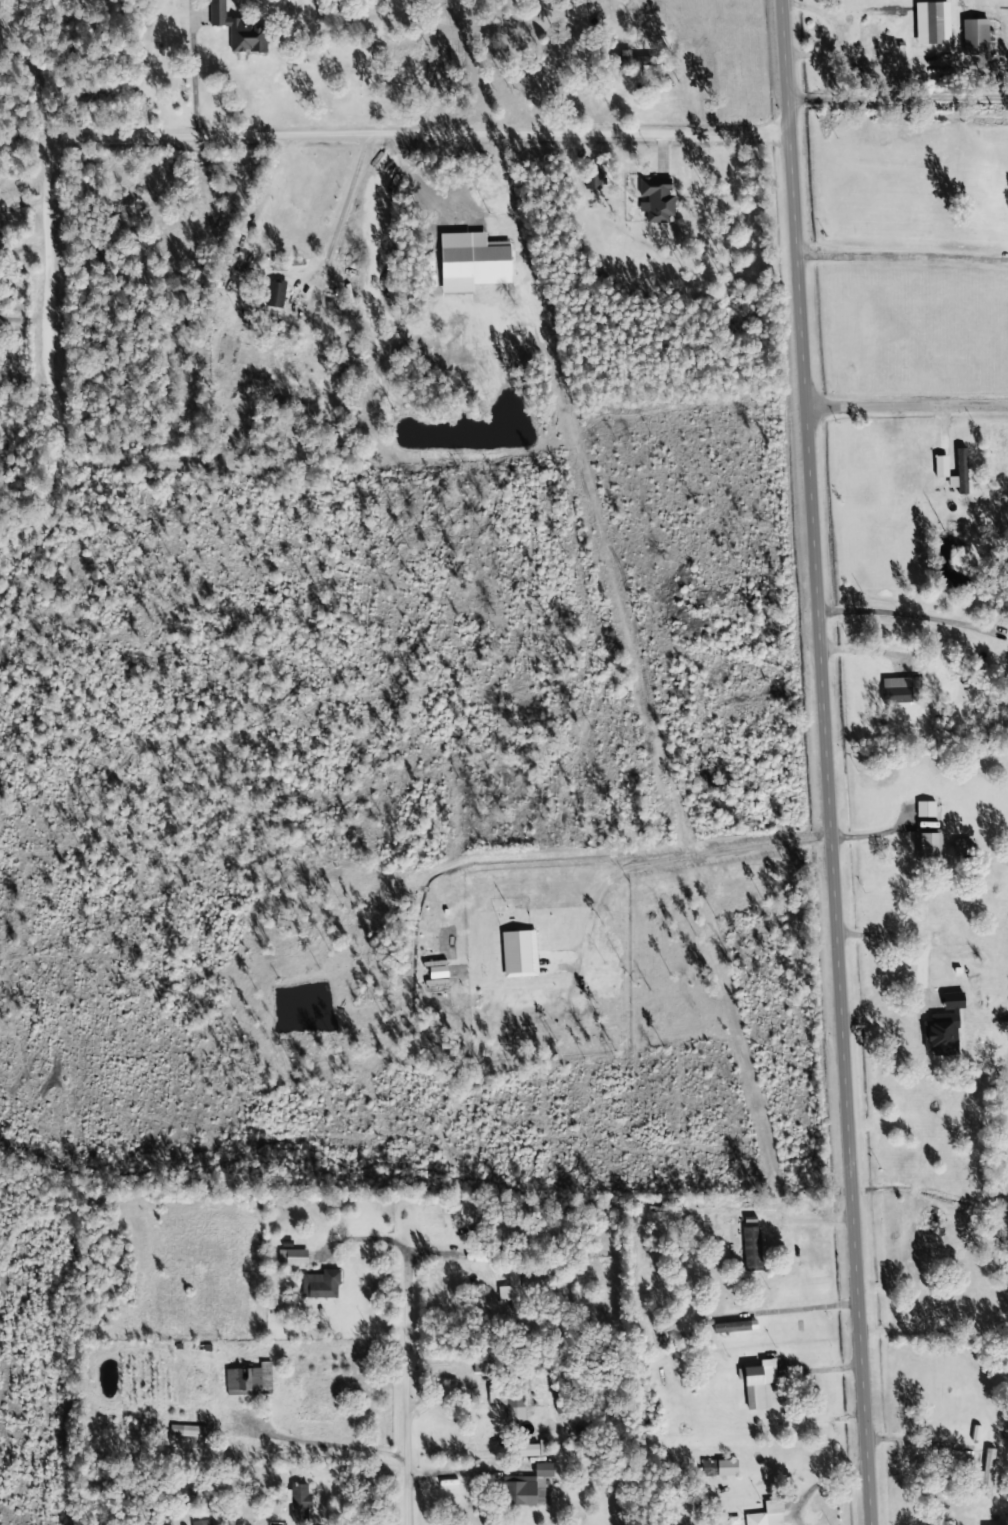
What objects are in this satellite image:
building: (237, 30)
building: (973, 38)
building: (868, 44)
road: (20, 132)
road: (414, 135)
building: (590, 179)
building: (655, 199)
building: (1, 248)
road: (46, 258)
building: (273, 295)
building: (231, 350)
road: (908, 409)
building: (898, 691)
road: (826, 762)
building: (927, 845)
building: (955, 951)
building: (919, 1047)
building: (750, 1249)
building: (291, 1257)
building: (528, 1282)
building: (318, 1285)
building: (690, 1295)
building: (732, 1327)
building: (248, 1380)
building: (752, 1388)
building: (511, 1392)
road: (640, 1403)
building: (186, 1431)
building: (718, 1468)
road: (417, 1472)
building: (985, 1473)
building: (519, 1491)
building: (298, 1502)
road: (375, 1510)
building: (767, 1514)
building: (200, 1522)

